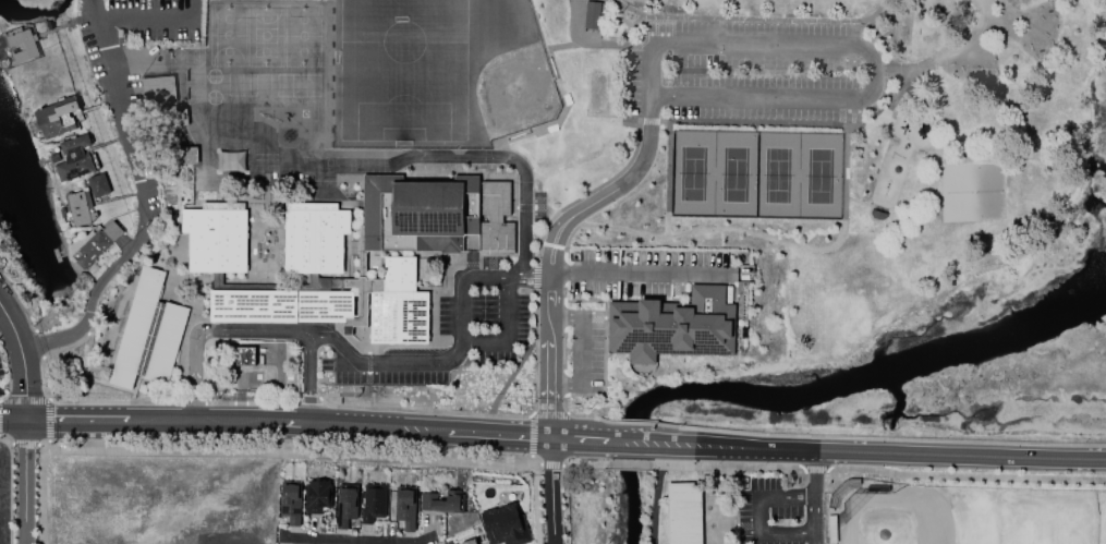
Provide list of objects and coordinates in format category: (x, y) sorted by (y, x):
road: (88, 3)
road: (93, 3)
road: (987, 12)
building: (592, 14)
road: (762, 17)
road: (862, 17)
road: (157, 22)
road: (987, 24)
parking lot: (136, 25)
road: (672, 31)
road: (574, 37)
building: (24, 45)
road: (599, 46)
road: (639, 46)
road: (865, 50)
road: (903, 65)
parking lot: (753, 70)
park: (437, 72)
road: (624, 74)
building: (158, 89)
building: (58, 118)
road: (649, 122)
road: (810, 122)
park: (754, 132)
building: (75, 158)
building: (231, 161)
road: (516, 165)
park: (692, 171)
park: (734, 172)
park: (777, 173)
park: (818, 174)
road: (891, 178)
road: (667, 179)
building: (98, 185)
road: (586, 191)
road: (142, 207)
building: (81, 210)
building: (418, 211)
building: (496, 218)
road: (622, 230)
building: (314, 237)
building: (216, 239)
road: (567, 239)
building: (97, 245)
road: (552, 245)
road: (810, 246)
parking lot: (647, 270)
road: (563, 271)
road: (640, 271)
road: (530, 275)
road: (535, 276)
road: (564, 302)
building: (280, 304)
building: (399, 304)
road: (564, 317)
building: (672, 325)
road: (12, 327)
road: (85, 329)
building: (148, 333)
road: (211, 334)
parking lot: (489, 338)
road: (464, 342)
parking lot: (586, 349)
road: (584, 350)
road: (564, 351)
road: (42, 355)
building: (246, 356)
road: (386, 361)
parking lot: (1, 368)
road: (604, 374)
road: (510, 375)
road: (309, 379)
road: (24, 384)
road: (564, 384)
parking lot: (1, 389)
road: (309, 399)
road: (25, 401)
road: (117, 403)
road: (193, 403)
road: (253, 403)
road: (485, 412)
road: (532, 412)
road: (531, 413)
road: (549, 413)
road: (12, 419)
traffic signals: (25, 420)
road: (0, 421)
road: (51, 422)
road: (632, 422)
road: (318, 424)
road: (532, 434)
road: (876, 435)
road: (630, 443)
road: (27, 445)
road: (49, 446)
road: (44, 447)
road: (876, 452)
road: (293, 458)
road: (531, 458)
road: (550, 463)
road: (583, 463)
road: (630, 463)
road: (729, 466)
road: (816, 468)
road: (813, 471)
road: (967, 473)
road: (24, 482)
road: (13, 486)
road: (549, 492)
road: (44, 496)
building: (317, 496)
building: (290, 501)
building: (445, 501)
building: (374, 503)
road: (536, 504)
road: (566, 504)
road: (656, 504)
building: (345, 507)
building: (408, 507)
road: (758, 511)
building: (684, 512)
parking lot: (779, 512)
park: (970, 515)
road: (813, 518)
building: (507, 525)
road: (333, 539)
road: (409, 542)
building: (473, 542)

